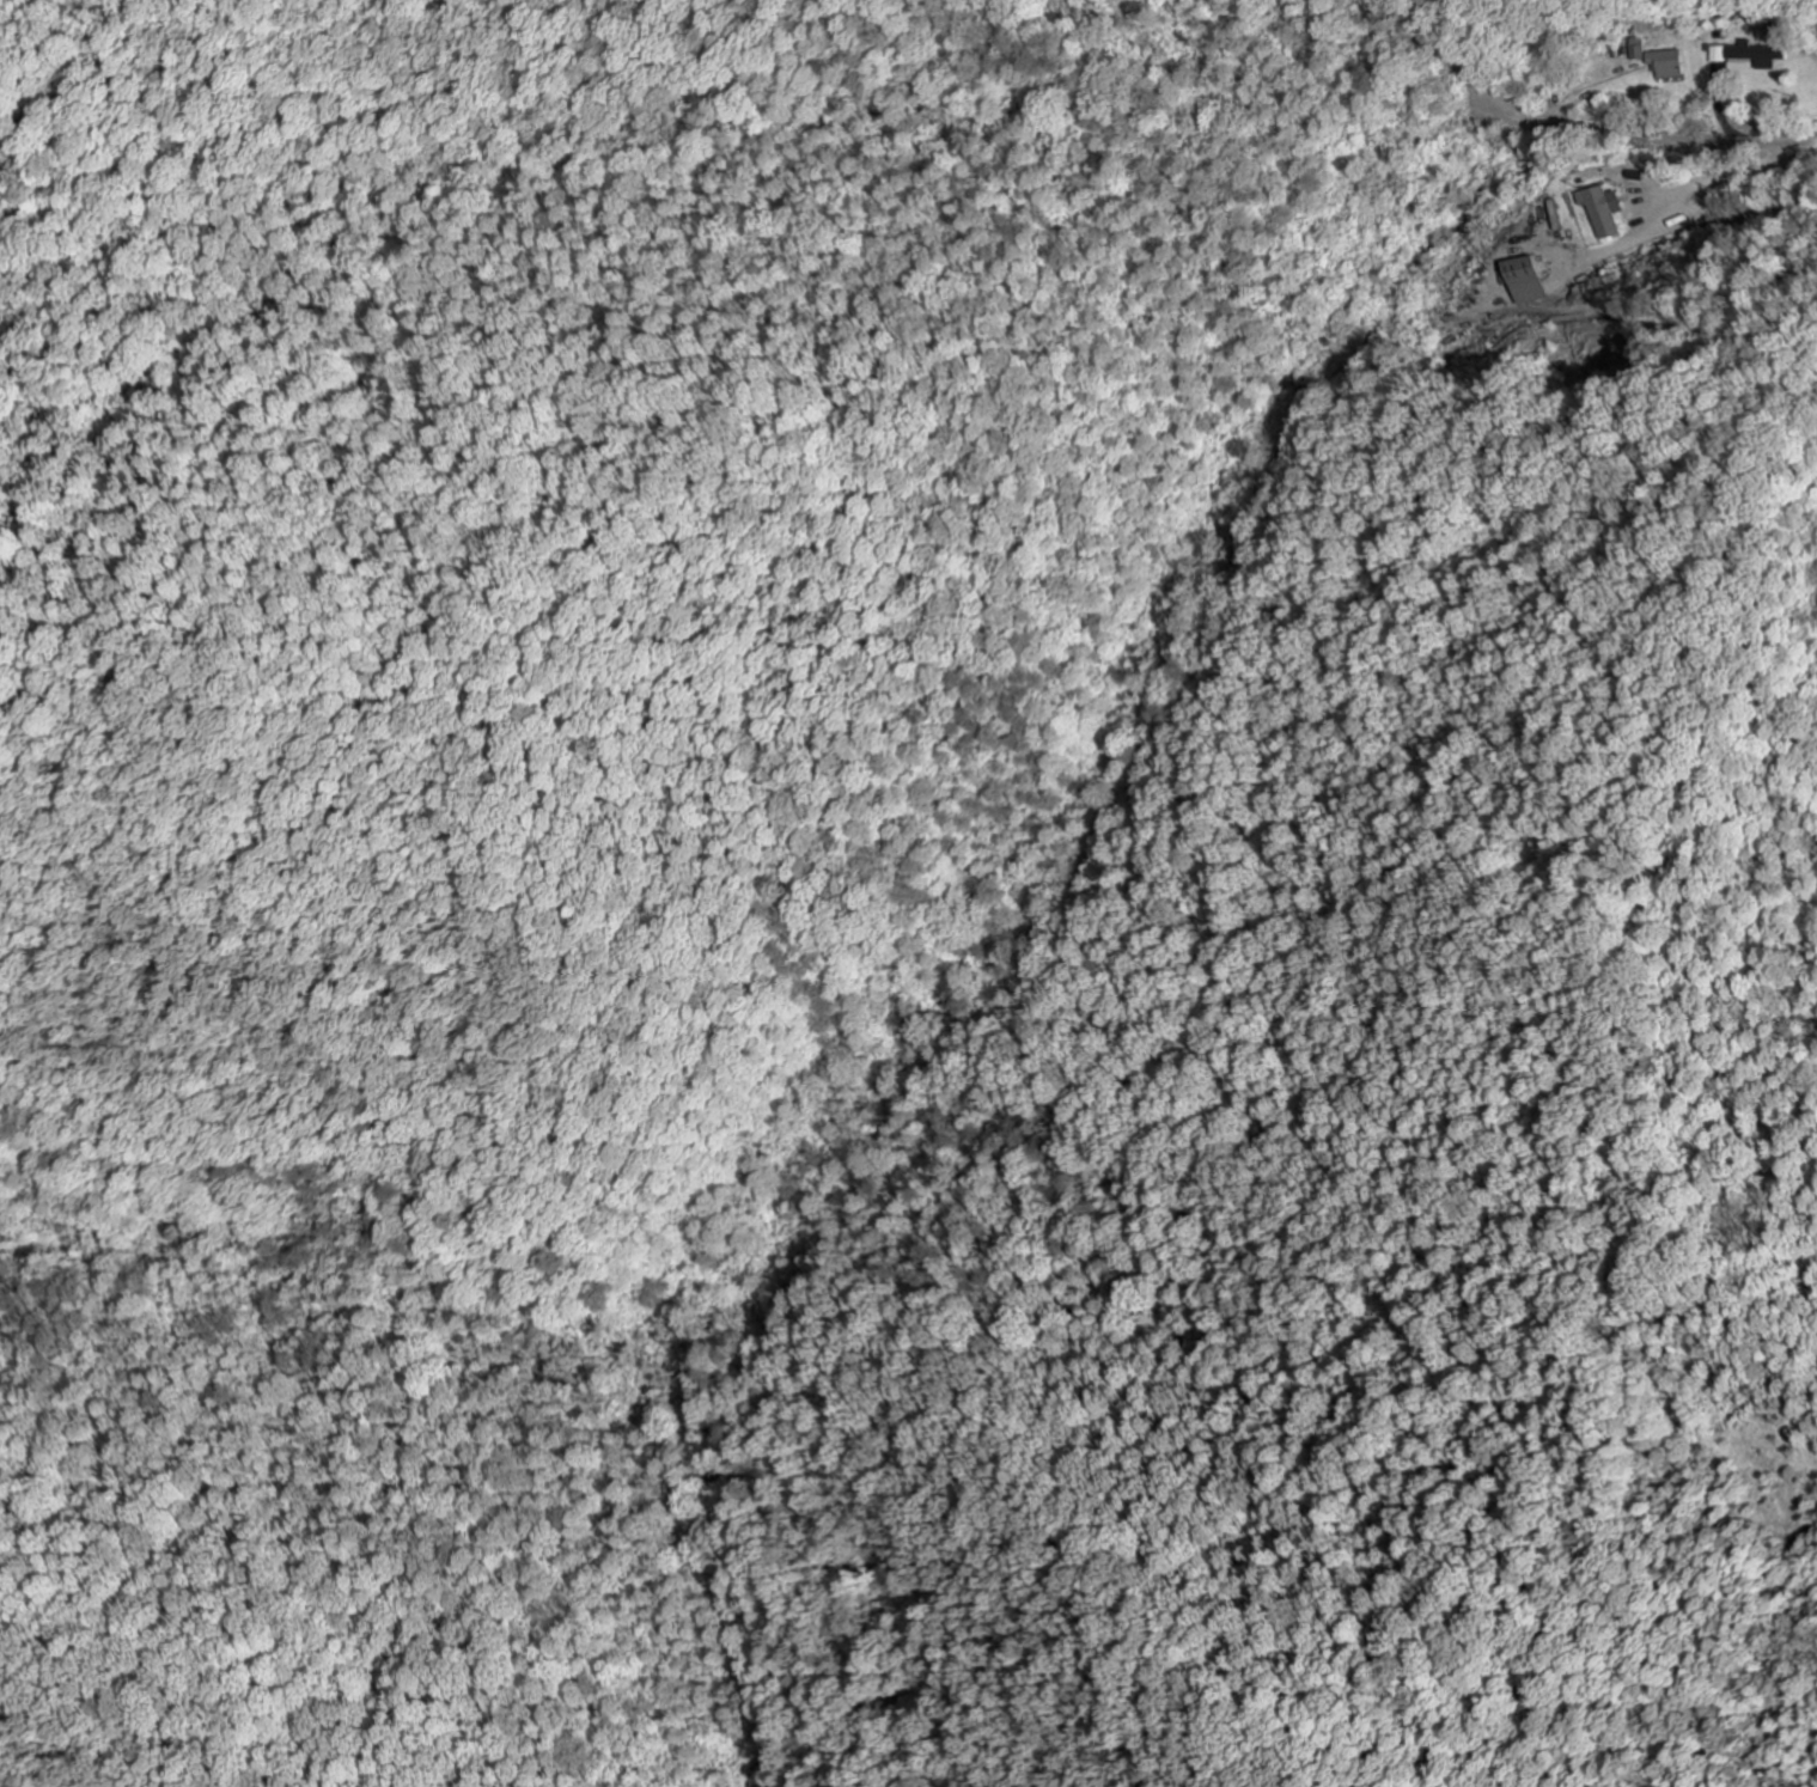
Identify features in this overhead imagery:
road: (1397, 38)
building: (1638, 53)
building: (1748, 55)
building: (1667, 63)
road: (1626, 134)
building: (1608, 211)
building: (1530, 280)

